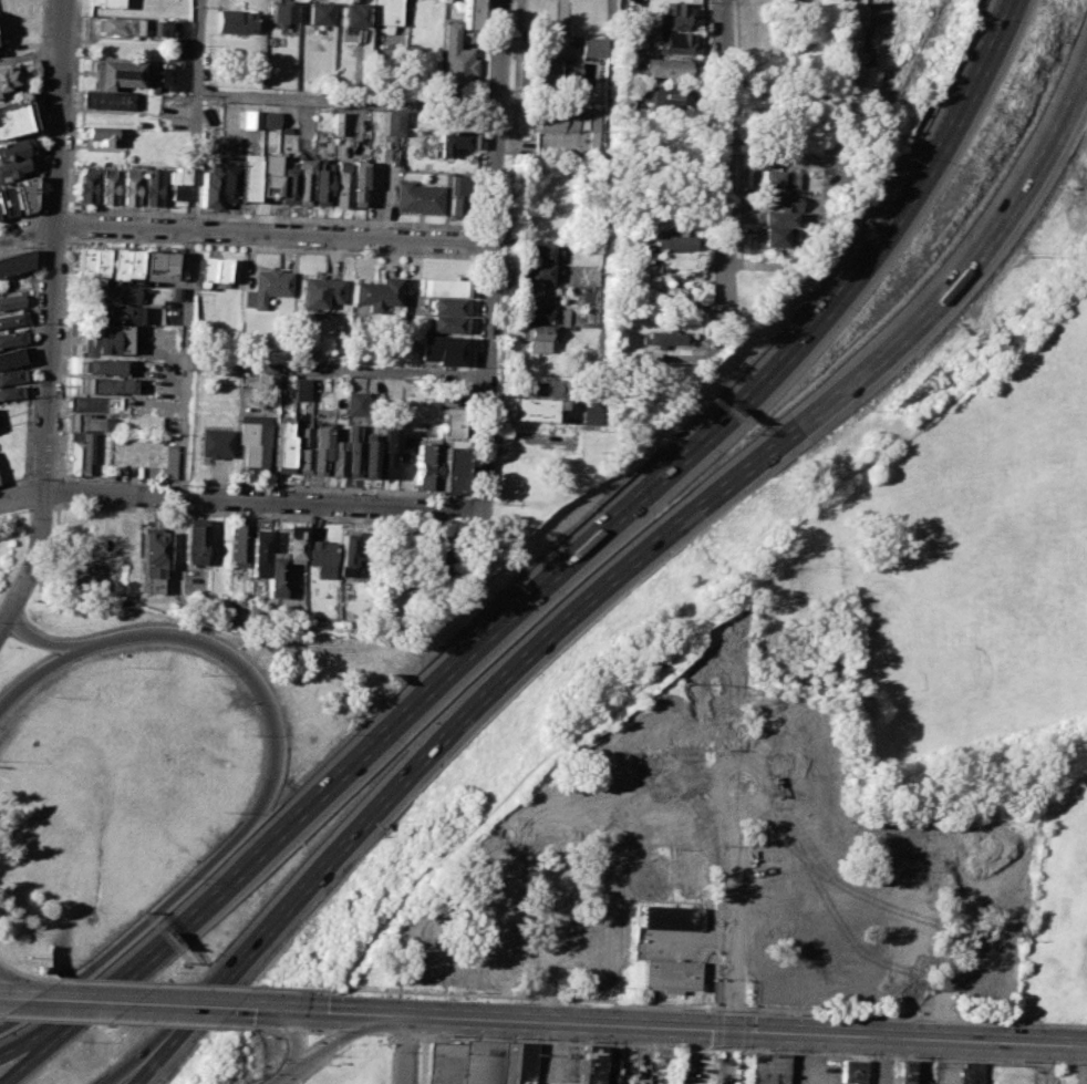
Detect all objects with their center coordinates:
building: (104, 3)
building: (384, 11)
building: (280, 12)
building: (315, 12)
building: (351, 13)
building: (470, 13)
building: (673, 16)
building: (232, 21)
building: (115, 25)
building: (155, 28)
building: (853, 37)
building: (674, 42)
building: (593, 47)
building: (456, 58)
building: (666, 66)
building: (113, 74)
building: (557, 74)
building: (6, 78)
building: (395, 81)
building: (376, 84)
building: (667, 95)
building: (104, 99)
road: (346, 101)
building: (623, 104)
road: (195, 114)
building: (263, 115)
building: (14, 120)
building: (558, 121)
building: (337, 123)
building: (393, 123)
building: (597, 123)
building: (100, 134)
building: (452, 141)
building: (226, 145)
building: (11, 149)
road: (724, 164)
building: (11, 167)
building: (244, 177)
building: (774, 178)
building: (300, 180)
building: (318, 180)
building: (265, 182)
building: (283, 182)
building: (355, 182)
building: (86, 183)
building: (339, 183)
building: (224, 184)
building: (177, 185)
building: (107, 186)
building: (128, 186)
building: (152, 186)
building: (207, 187)
building: (24, 193)
building: (456, 194)
building: (418, 197)
road: (1022, 198)
building: (780, 202)
building: (9, 203)
road: (34, 213)
road: (281, 218)
building: (775, 218)
road: (894, 219)
road: (246, 233)
building: (772, 236)
road: (35, 239)
road: (477, 241)
building: (671, 242)
building: (11, 250)
building: (547, 252)
road: (491, 255)
building: (674, 259)
building: (14, 262)
building: (91, 262)
building: (124, 262)
building: (158, 265)
building: (210, 270)
building: (546, 271)
building: (270, 285)
building: (444, 286)
building: (320, 291)
building: (175, 292)
building: (377, 292)
building: (115, 293)
building: (12, 300)
building: (446, 306)
road: (48, 308)
building: (116, 313)
building: (546, 314)
building: (11, 319)
building: (445, 322)
building: (539, 337)
building: (665, 337)
building: (11, 338)
building: (105, 339)
building: (443, 349)
park: (1081, 354)
building: (11, 357)
building: (652, 357)
road: (185, 362)
building: (102, 365)
road: (868, 368)
road: (337, 369)
road: (473, 371)
building: (10, 375)
building: (320, 383)
building: (105, 384)
building: (300, 388)
building: (540, 388)
building: (10, 392)
building: (354, 403)
building: (85, 404)
building: (532, 407)
building: (594, 411)
building: (451, 421)
building: (82, 422)
building: (214, 442)
building: (281, 442)
building: (252, 443)
building: (301, 447)
building: (318, 447)
building: (350, 450)
building: (74, 452)
building: (334, 457)
building: (367, 457)
building: (168, 461)
building: (387, 462)
building: (426, 465)
building: (451, 468)
road: (240, 497)
road: (466, 498)
park: (1002, 498)
road: (41, 506)
road: (465, 509)
road: (14, 512)
road: (259, 514)
building: (194, 540)
building: (239, 541)
building: (294, 541)
building: (320, 551)
building: (153, 553)
building: (258, 554)
road: (23, 556)
building: (438, 556)
building: (352, 558)
building: (87, 572)
building: (273, 576)
road: (4, 617)
park: (963, 623)
park: (1037, 631)
road: (37, 641)
road: (35, 671)
road: (465, 715)
building: (790, 721)
building: (665, 729)
road: (385, 732)
building: (609, 775)
building: (821, 776)
road: (253, 815)
building: (552, 819)
building: (666, 820)
building: (791, 833)
building: (689, 874)
building: (500, 876)
building: (600, 880)
building: (994, 901)
building: (774, 904)
building: (840, 904)
building: (670, 918)
building: (910, 920)
building: (426, 950)
building: (497, 954)
building: (597, 959)
building: (979, 969)
road: (25, 975)
building: (669, 975)
building: (797, 978)
road: (175, 984)
building: (883, 988)
road: (9, 990)
road: (9, 1000)
road: (24, 1001)
road: (141, 1004)
road: (690, 1006)
road: (271, 1010)
road: (545, 1010)
traffic signals: (290, 1011)
road: (333, 1012)
road: (391, 1014)
road: (732, 1019)
road: (127, 1022)
road: (270, 1029)
road: (940, 1029)
road: (296, 1030)
road: (321, 1030)
road: (746, 1030)
road: (352, 1032)
road: (380, 1033)
road: (406, 1034)
road: (296, 1042)
road: (332, 1043)
road: (645, 1045)
road: (405, 1050)
road: (545, 1053)
road: (14, 1054)
road: (883, 1054)
road: (812, 1057)
road: (883, 1060)
road: (986, 1060)
road: (136, 1062)
building: (483, 1062)
building: (519, 1062)
road: (154, 1063)
building: (445, 1063)
road: (14, 1064)
road: (1081, 1064)
building: (599, 1066)
building: (768, 1068)
road: (869, 1068)
building: (853, 1071)
building: (905, 1072)
building: (969, 1073)
road: (1075, 1074)
road: (281, 1078)
road: (286, 1078)

